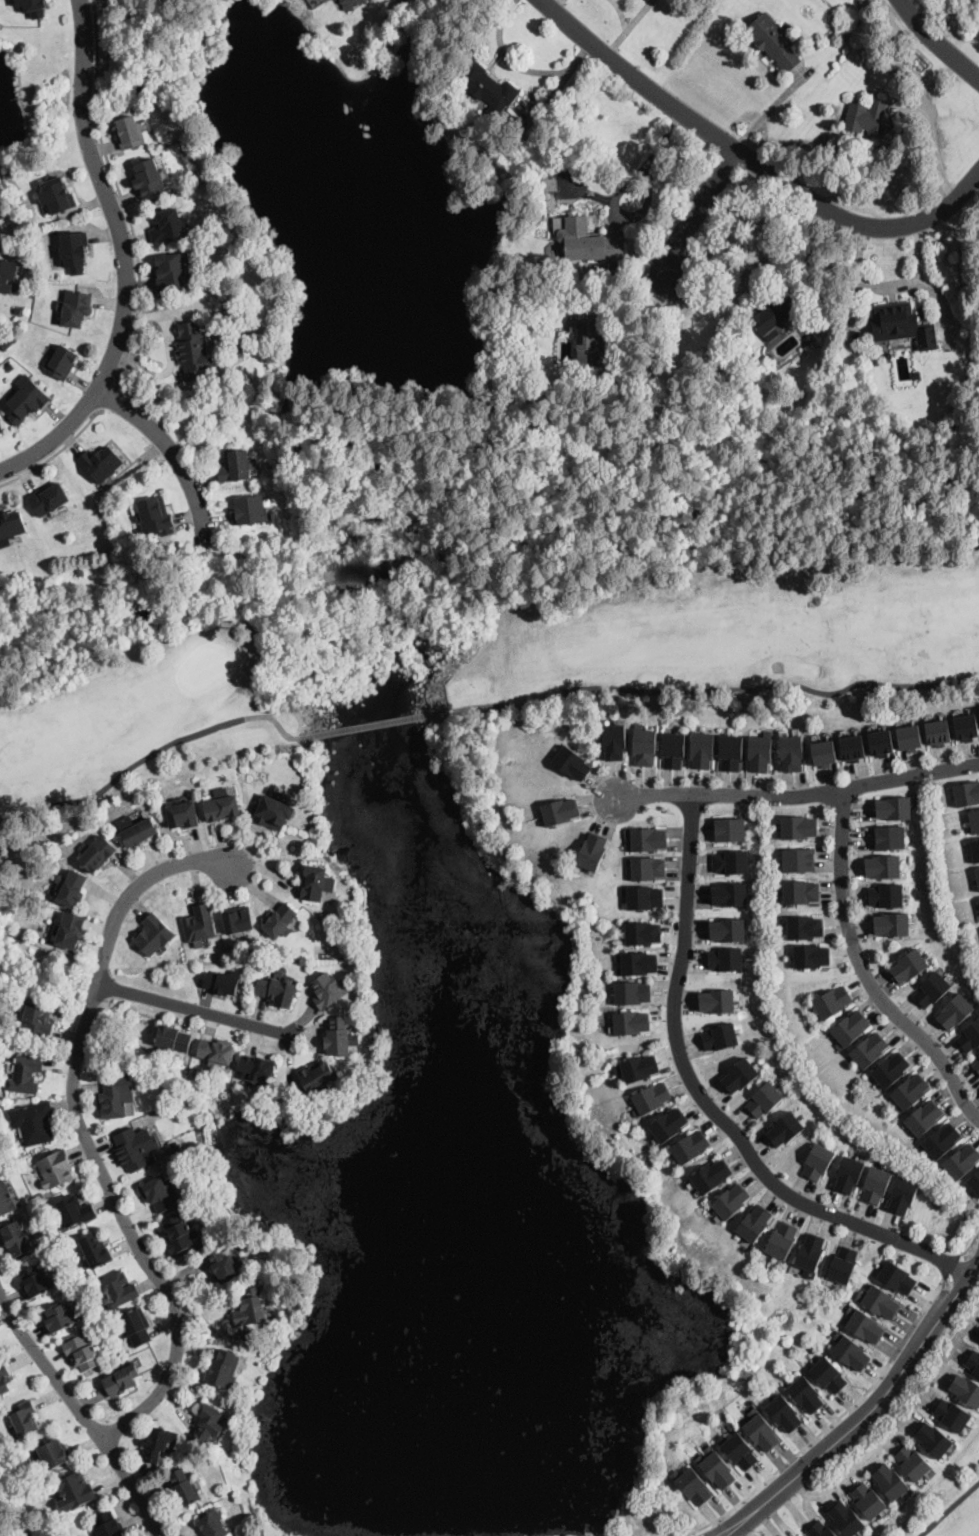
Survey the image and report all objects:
building: (350, 3)
building: (33, 7)
building: (773, 41)
road: (937, 43)
road: (85, 56)
building: (488, 89)
building: (867, 117)
building: (131, 132)
building: (518, 143)
road: (935, 144)
road: (752, 161)
building: (149, 178)
building: (549, 179)
road: (623, 187)
building: (57, 195)
road: (121, 195)
road: (700, 209)
building: (168, 225)
building: (588, 241)
building: (74, 252)
building: (173, 271)
building: (7, 275)
building: (75, 307)
building: (18, 310)
road: (645, 310)
road: (123, 315)
building: (770, 317)
building: (902, 325)
building: (728, 336)
building: (809, 338)
building: (587, 340)
building: (5, 343)
building: (193, 351)
building: (888, 354)
building: (770, 358)
building: (61, 362)
building: (10, 367)
building: (916, 376)
road: (109, 398)
building: (26, 401)
building: (1, 429)
road: (173, 451)
road: (56, 455)
building: (101, 463)
building: (234, 465)
building: (48, 499)
building: (96, 501)
building: (134, 509)
building: (250, 509)
building: (155, 515)
building: (11, 525)
building: (79, 571)
park: (464, 641)
road: (715, 689)
road: (376, 723)
building: (967, 726)
building: (938, 731)
building: (910, 737)
building: (614, 742)
building: (881, 742)
building: (644, 747)
building: (853, 747)
building: (702, 750)
building: (673, 751)
building: (792, 752)
building: (824, 752)
road: (150, 753)
building: (731, 753)
building: (760, 753)
building: (572, 763)
road: (799, 793)
building: (966, 794)
building: (221, 806)
building: (893, 809)
building: (274, 811)
building: (560, 812)
building: (182, 813)
building: (974, 821)
building: (798, 826)
building: (730, 830)
building: (138, 833)
building: (889, 838)
building: (646, 840)
building: (975, 851)
building: (592, 852)
building: (97, 855)
building: (799, 859)
building: (731, 863)
building: (882, 867)
building: (647, 869)
building: (977, 877)
building: (315, 883)
building: (70, 888)
building: (800, 891)
building: (730, 895)
building: (885, 896)
building: (643, 898)
building: (238, 919)
building: (280, 921)
building: (199, 924)
building: (891, 925)
building: (805, 927)
building: (728, 930)
building: (69, 931)
building: (642, 934)
building: (153, 935)
building: (811, 957)
building: (725, 960)
building: (636, 964)
building: (909, 966)
road: (864, 972)
building: (222, 982)
building: (277, 990)
building: (328, 990)
building: (931, 990)
building: (632, 993)
building: (716, 1001)
building: (832, 1002)
road: (195, 1011)
building: (955, 1012)
building: (37, 1018)
building: (631, 1023)
building: (850, 1030)
building: (338, 1037)
building: (969, 1037)
building: (720, 1038)
building: (172, 1040)
building: (869, 1051)
building: (215, 1053)
building: (976, 1066)
building: (257, 1068)
building: (638, 1069)
building: (890, 1070)
building: (25, 1075)
building: (739, 1076)
building: (318, 1077)
building: (909, 1093)
building: (116, 1095)
building: (651, 1099)
building: (763, 1100)
road: (707, 1103)
building: (924, 1118)
building: (33, 1122)
building: (668, 1125)
building: (784, 1130)
road: (84, 1132)
building: (942, 1141)
building: (172, 1147)
building: (690, 1147)
building: (134, 1151)
building: (817, 1162)
building: (962, 1162)
building: (55, 1169)
building: (848, 1175)
building: (711, 1177)
building: (975, 1183)
building: (875, 1186)
building: (159, 1193)
building: (903, 1196)
building: (6, 1199)
building: (731, 1202)
building: (204, 1206)
building: (75, 1211)
building: (755, 1223)
road: (970, 1233)
building: (178, 1235)
building: (16, 1238)
building: (782, 1241)
building: (95, 1250)
building: (810, 1253)
building: (223, 1265)
building: (843, 1265)
road: (949, 1265)
building: (260, 1268)
building: (896, 1278)
building: (35, 1281)
building: (117, 1289)
building: (881, 1303)
building: (250, 1309)
building: (58, 1317)
building: (864, 1326)
building: (136, 1327)
building: (978, 1342)
building: (83, 1351)
building: (849, 1352)
building: (973, 1362)
building: (224, 1368)
building: (828, 1376)
building: (4, 1379)
building: (120, 1380)
building: (966, 1390)
building: (805, 1395)
road: (81, 1413)
road: (867, 1413)
building: (783, 1414)
building: (951, 1415)
building: (25, 1419)
road: (900, 1420)
building: (207, 1425)
road: (825, 1427)
building: (761, 1433)
building: (932, 1440)
building: (159, 1444)
building: (738, 1451)
building: (54, 1453)
building: (912, 1463)
building: (716, 1468)
building: (889, 1482)
building: (693, 1486)
building: (184, 1488)
building: (74, 1491)
building: (868, 1501)
park: (16, 1503)
building: (624, 1503)
park: (943, 1503)
road: (950, 1510)
road: (666, 1512)
road: (631, 1518)
building: (845, 1519)
building: (213, 1524)
building: (108, 1525)
building: (819, 1529)
building: (259, 1530)

